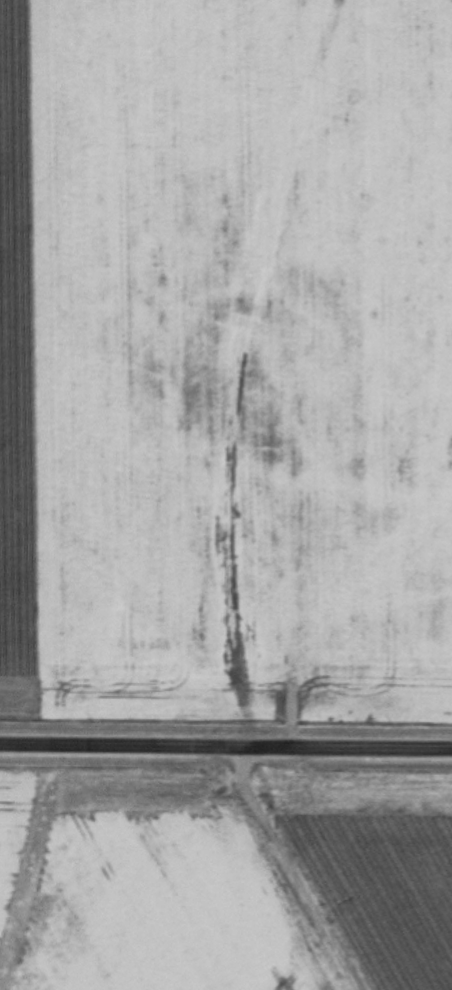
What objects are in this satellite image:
road: (225, 749)

